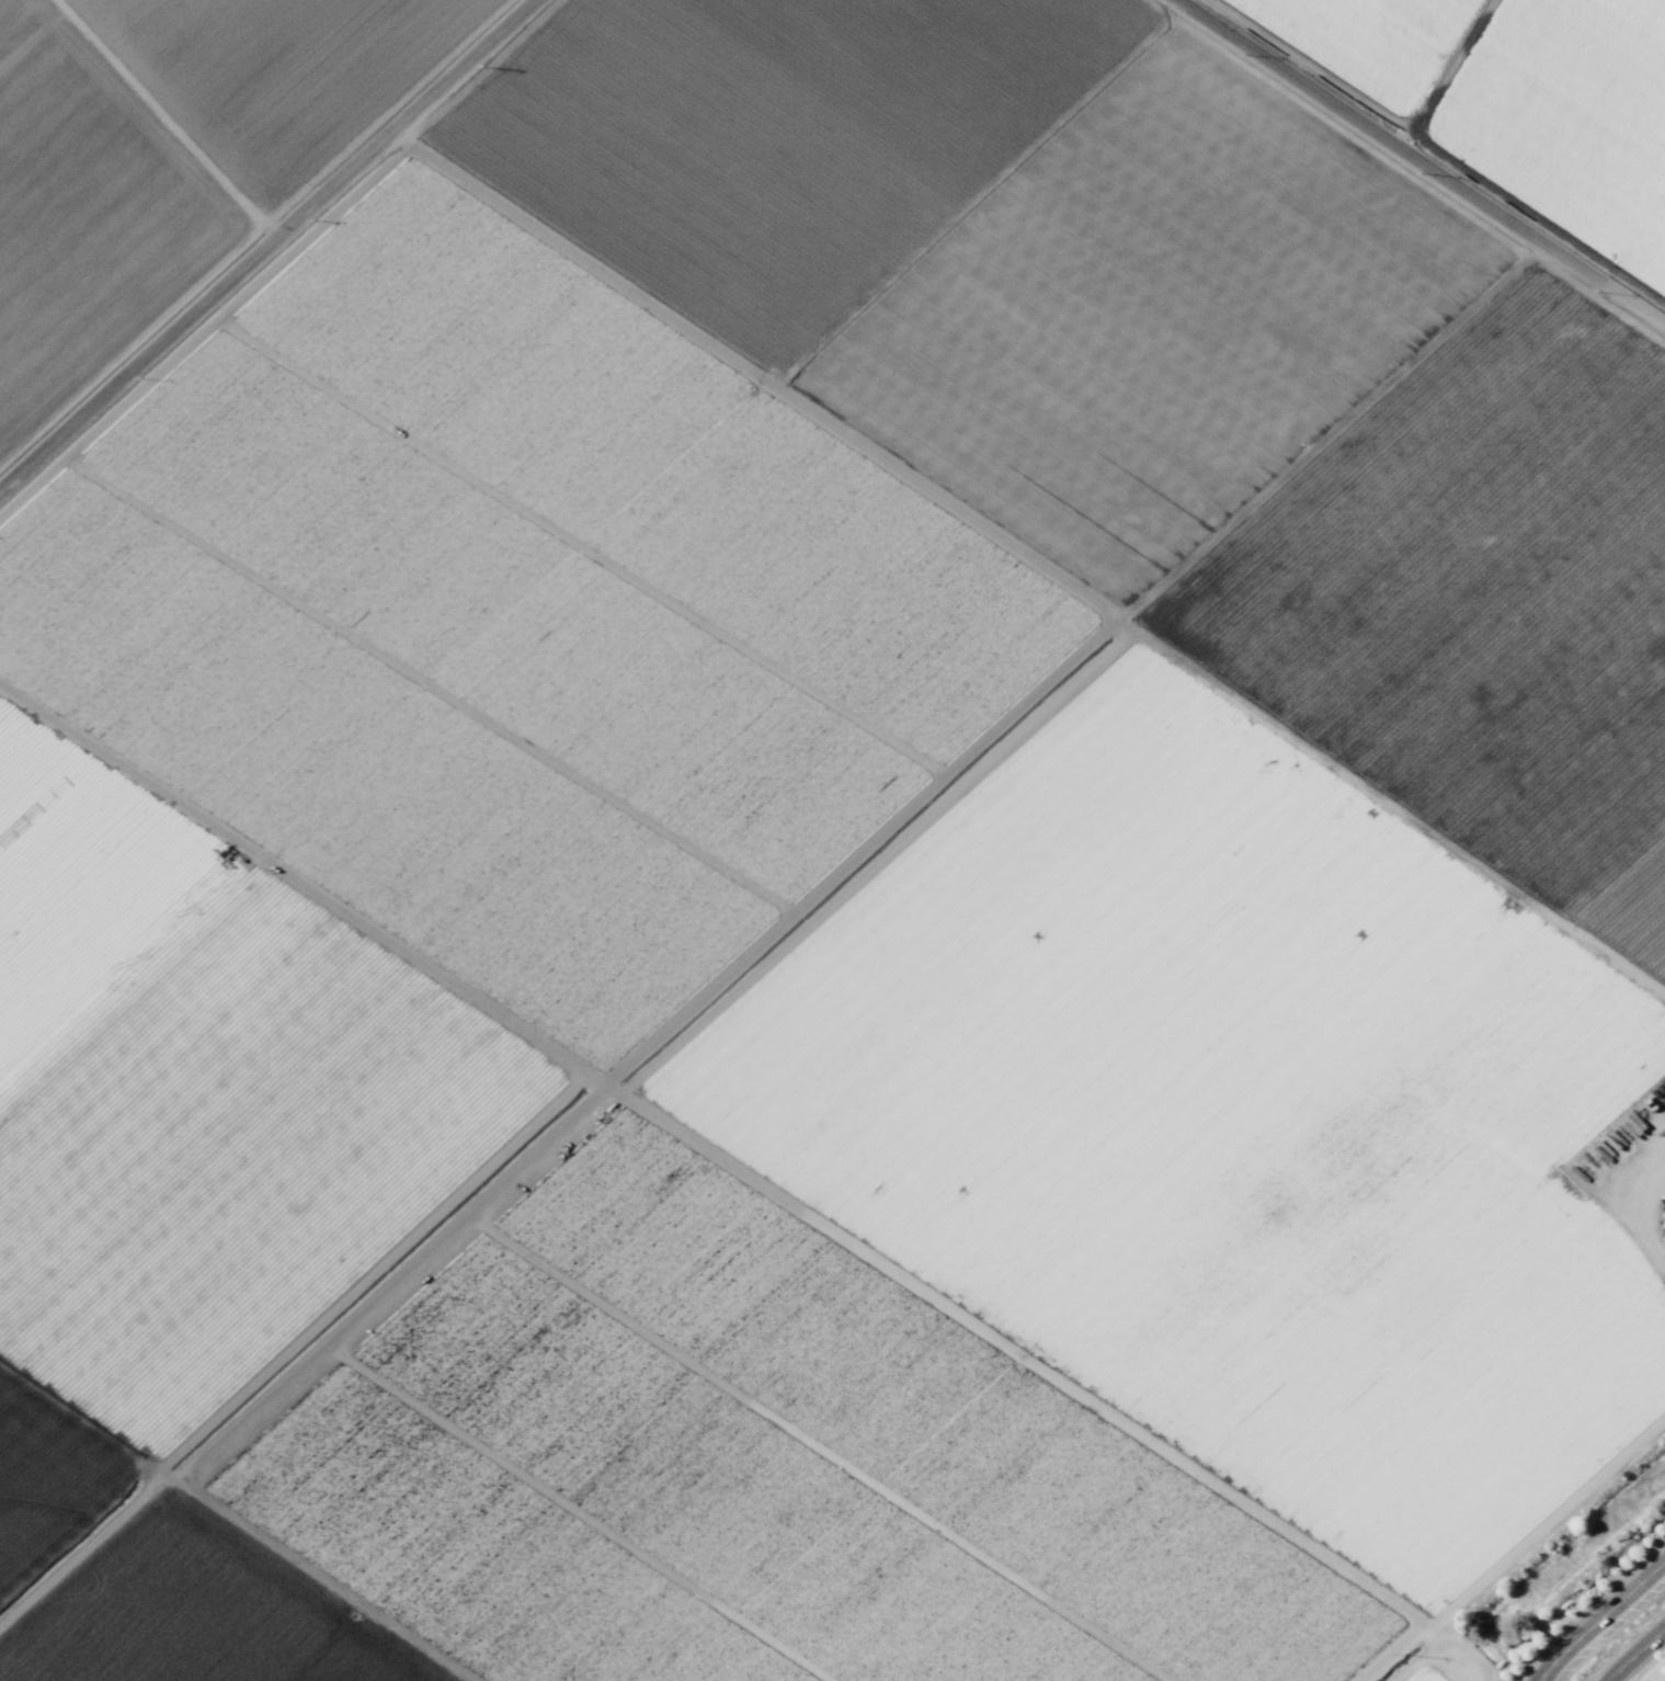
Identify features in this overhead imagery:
road: (1657, 3)
road: (1452, 66)
road: (122, 114)
road: (1440, 151)
road: (1422, 162)
road: (256, 232)
road: (266, 246)
crop: (819, 829)
road: (1599, 1618)
road: (1635, 1655)
road: (1430, 1656)

